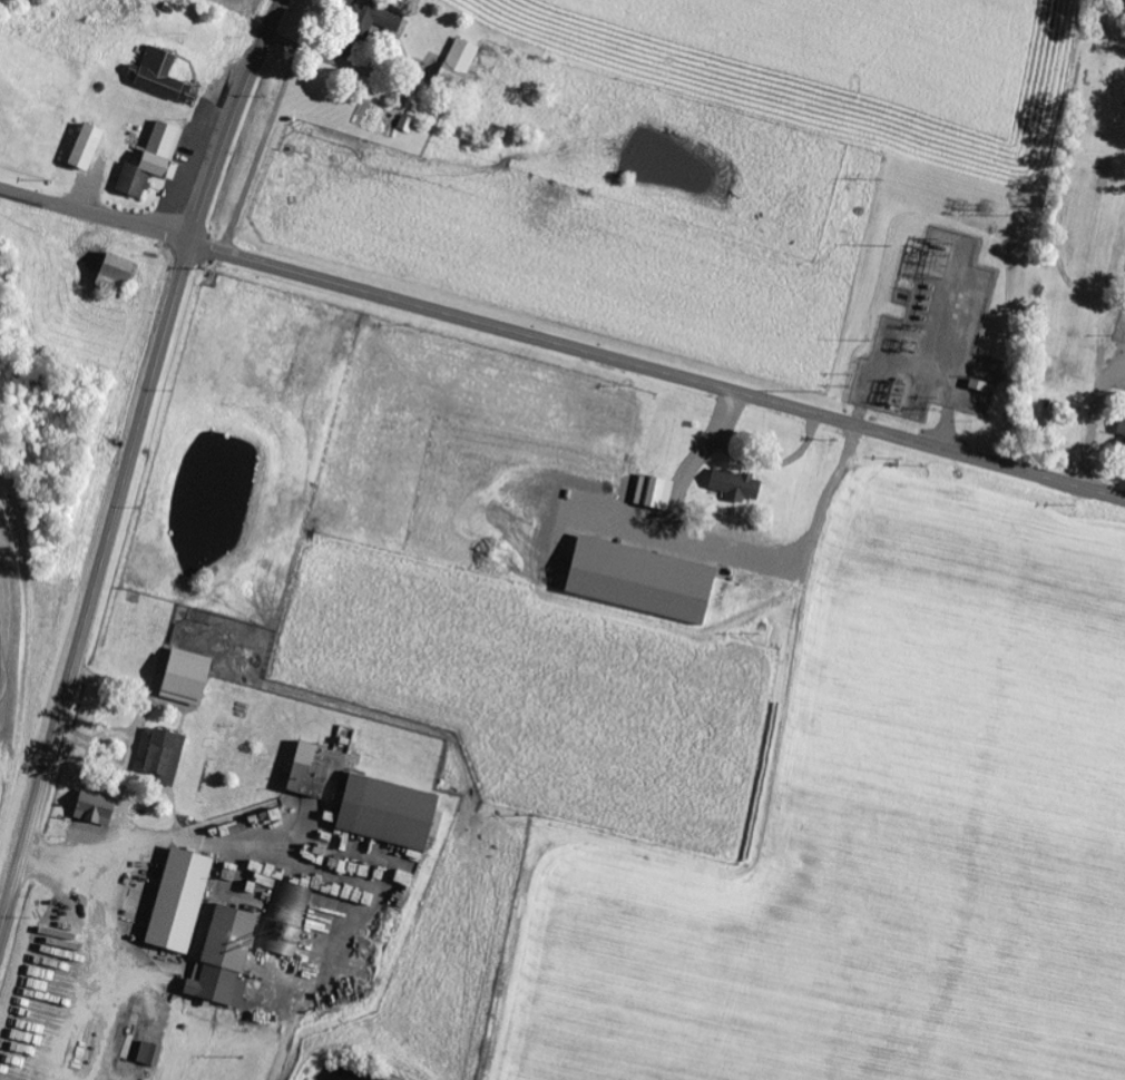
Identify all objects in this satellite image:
building: (374, 17)
building: (457, 66)
building: (159, 76)
building: (404, 124)
building: (82, 148)
building: (150, 161)
building: (110, 274)
road: (561, 344)
building: (1121, 426)
road: (129, 464)
building: (628, 471)
building: (734, 487)
building: (654, 494)
building: (626, 497)
building: (637, 581)
building: (183, 677)
building: (163, 756)
building: (304, 772)
building: (91, 807)
building: (384, 812)
building: (261, 873)
building: (176, 900)
building: (286, 920)
building: (221, 958)
building: (147, 1053)

